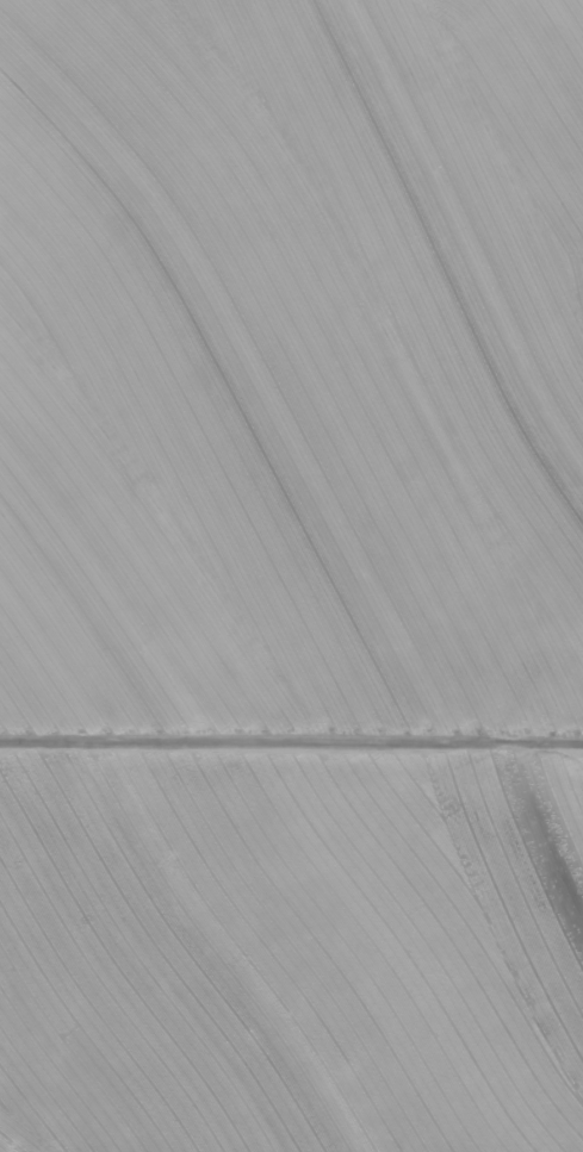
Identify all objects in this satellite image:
road: (291, 718)

